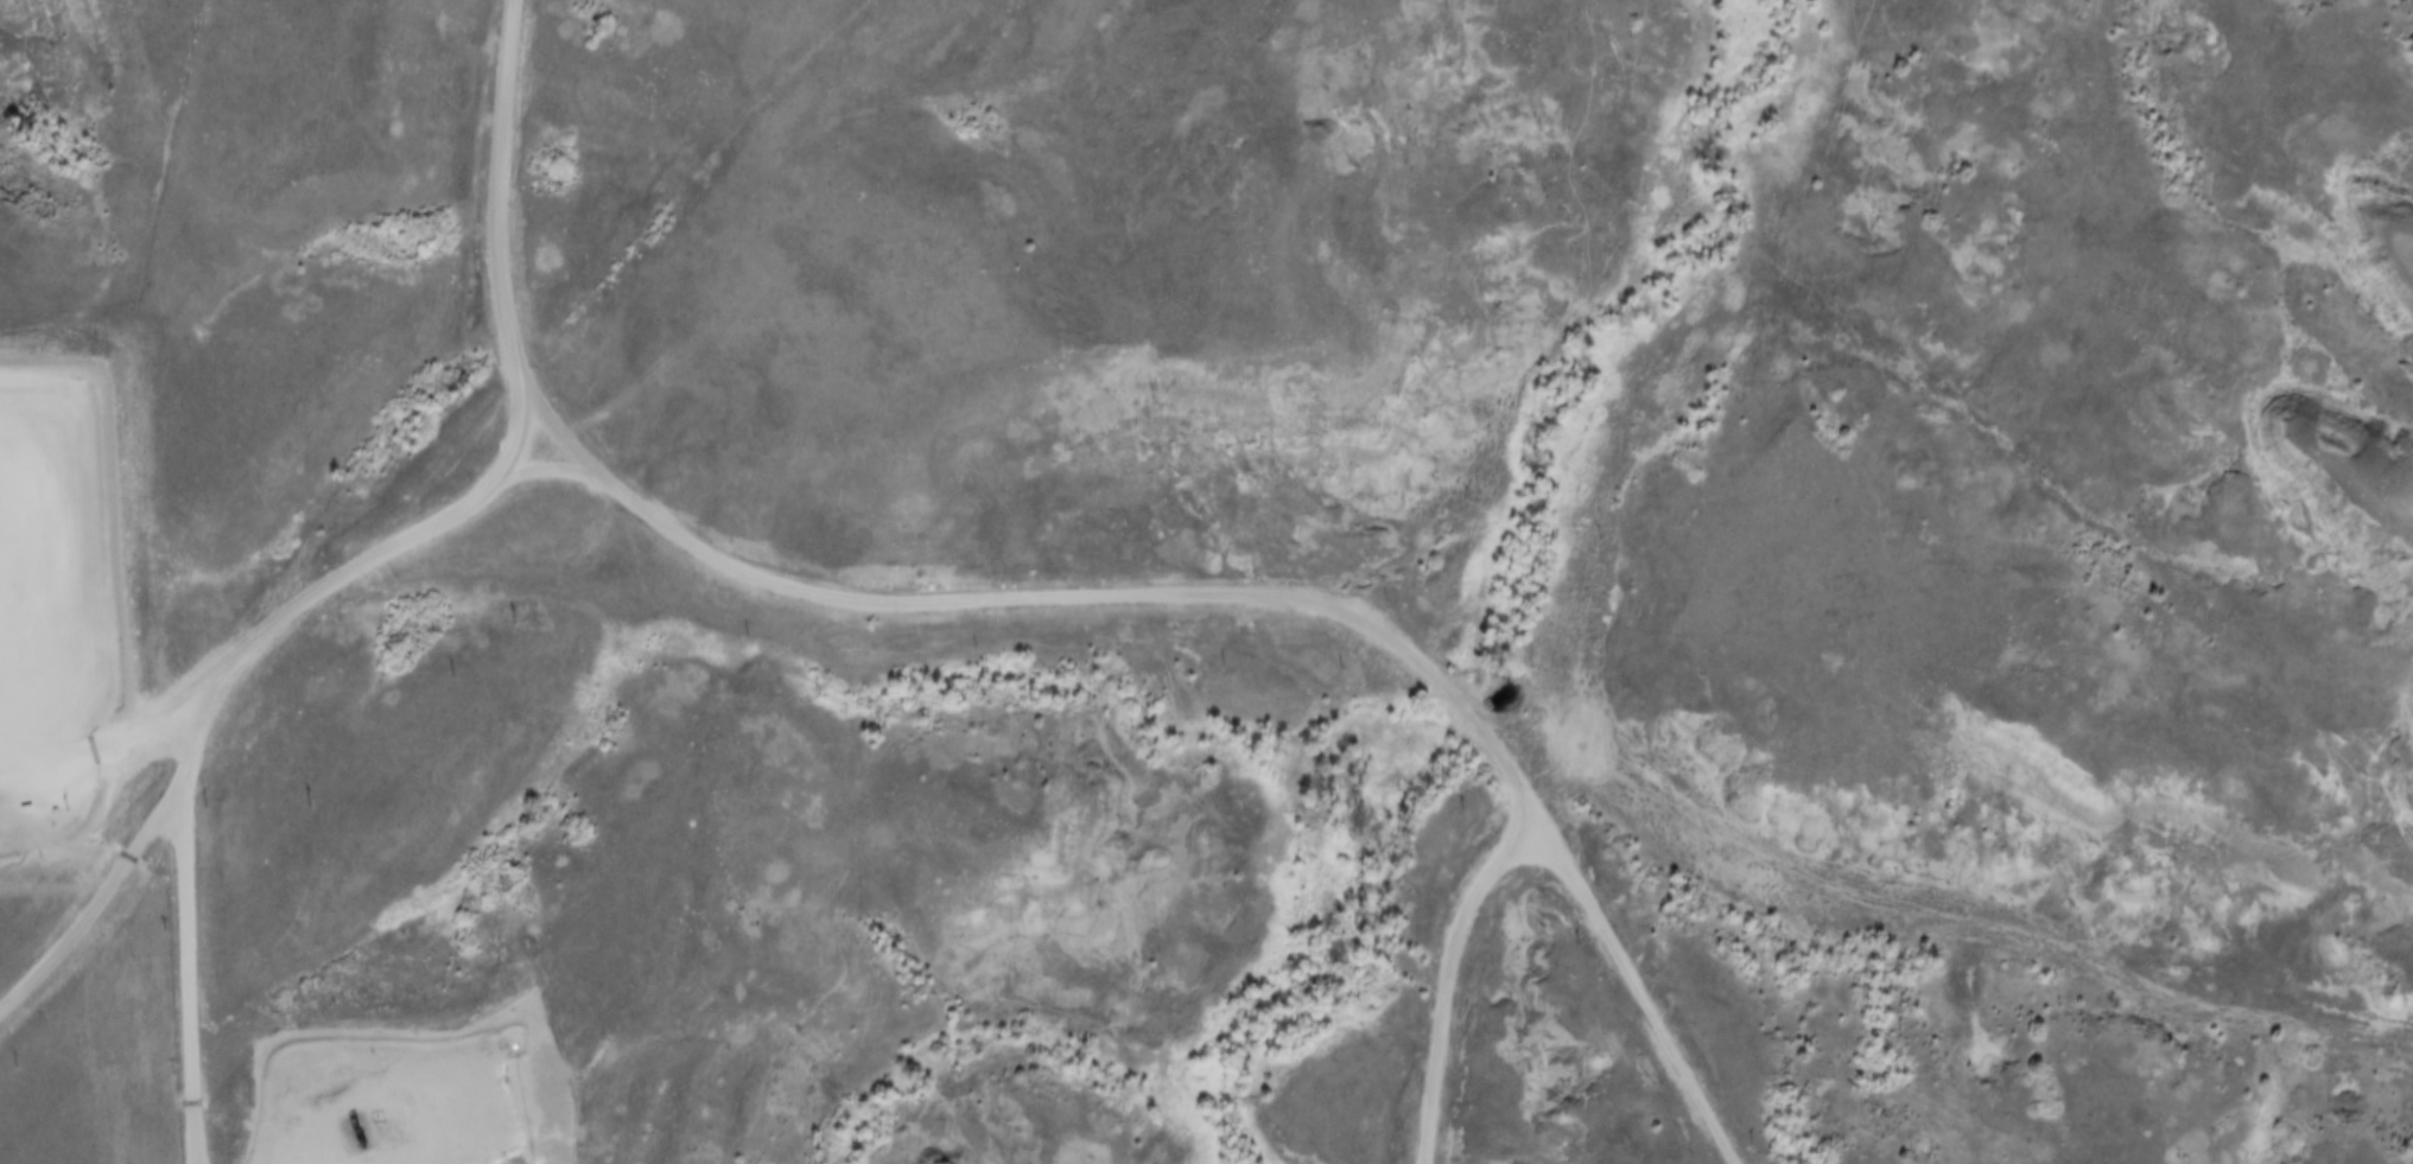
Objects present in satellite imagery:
road: (390, 543)
road: (1227, 604)
road: (185, 965)
road: (1449, 981)
petroleum well: (353, 1121)
road: (484, 1141)

